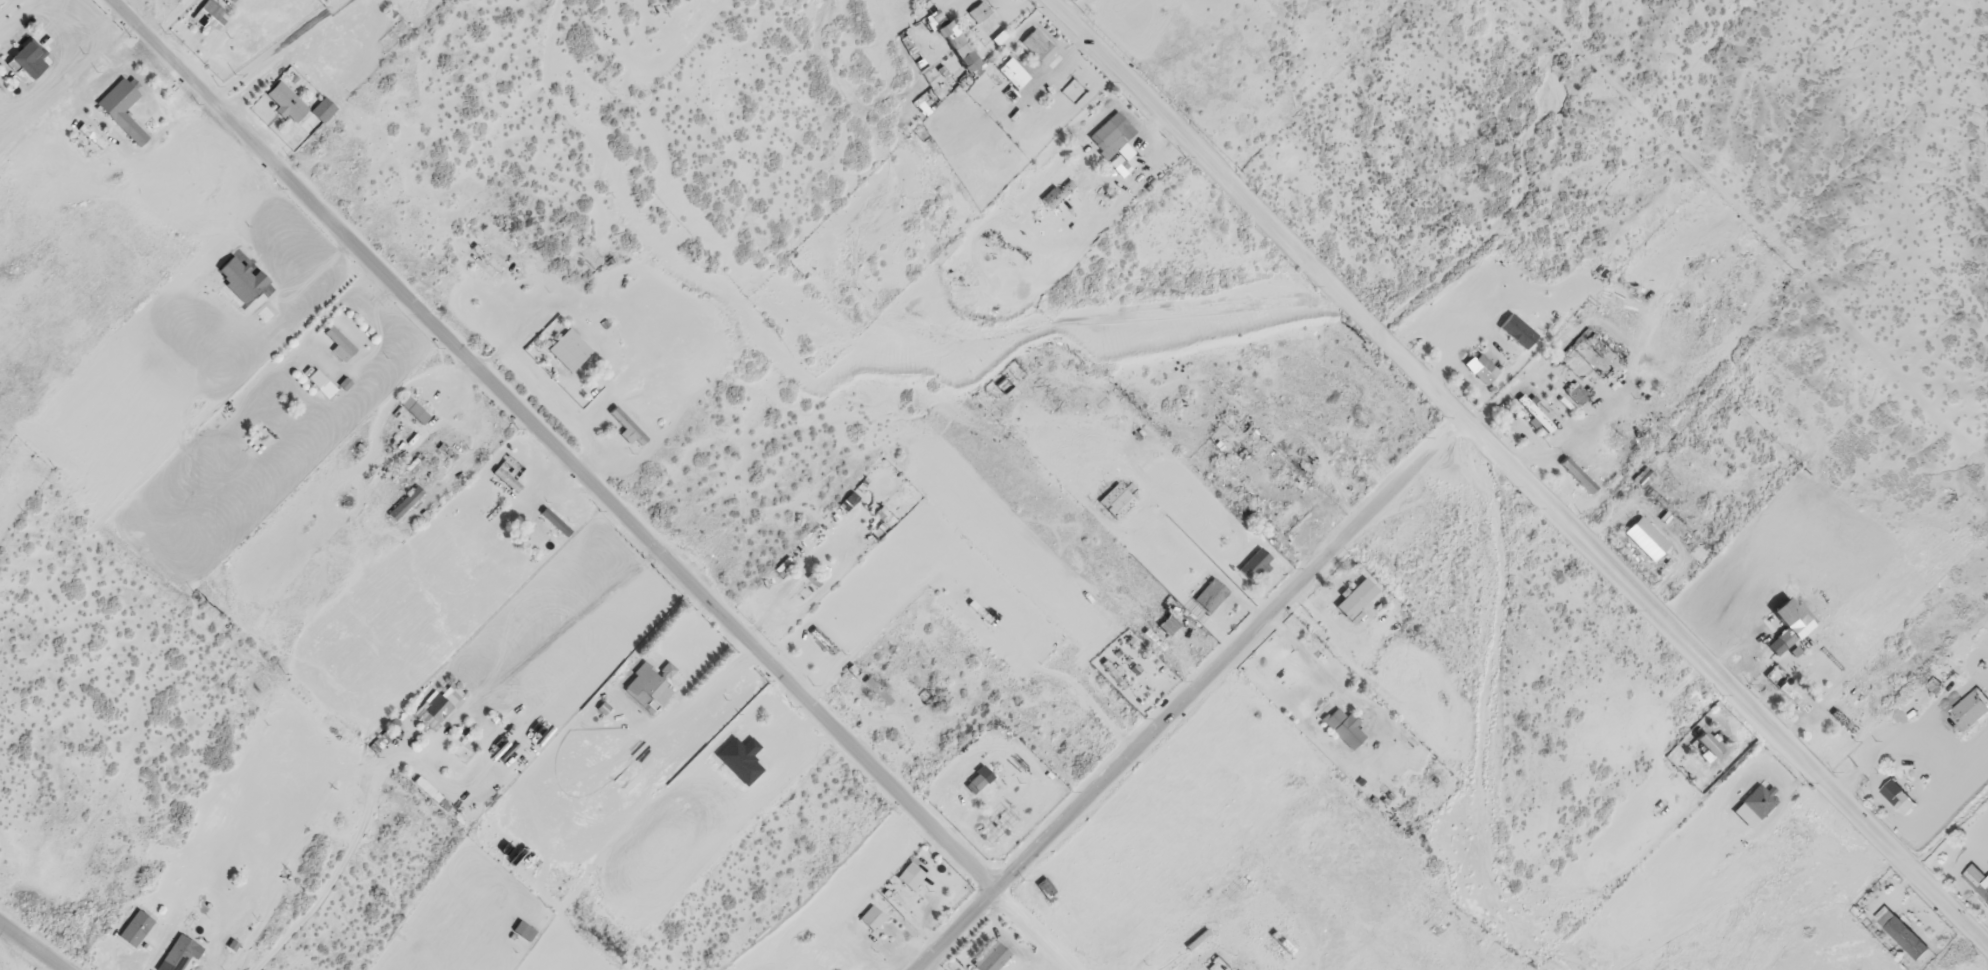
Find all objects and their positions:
building: (206, 10)
building: (979, 11)
building: (950, 30)
building: (1039, 44)
building: (33, 53)
building: (287, 100)
building: (121, 101)
building: (924, 102)
building: (1113, 130)
building: (1060, 190)
building: (240, 274)
building: (1617, 314)
building: (1516, 333)
building: (568, 343)
building: (323, 381)
building: (1663, 384)
building: (629, 425)
road: (549, 448)
road: (1510, 477)
building: (1576, 478)
building: (1643, 479)
building: (1118, 498)
building: (405, 502)
building: (1290, 520)
building: (1646, 541)
building: (1255, 565)
building: (1210, 597)
building: (1356, 601)
building: (1167, 627)
building: (1788, 628)
building: (870, 682)
building: (650, 684)
road: (1191, 699)
building: (435, 707)
building: (1971, 712)
building: (1343, 729)
building: (1707, 746)
building: (989, 784)
building: (1895, 796)
building: (1756, 807)
building: (908, 875)
building: (1976, 885)
building: (873, 914)
building: (137, 924)
road: (1030, 933)
building: (1906, 940)
road: (33, 945)
building: (182, 949)

